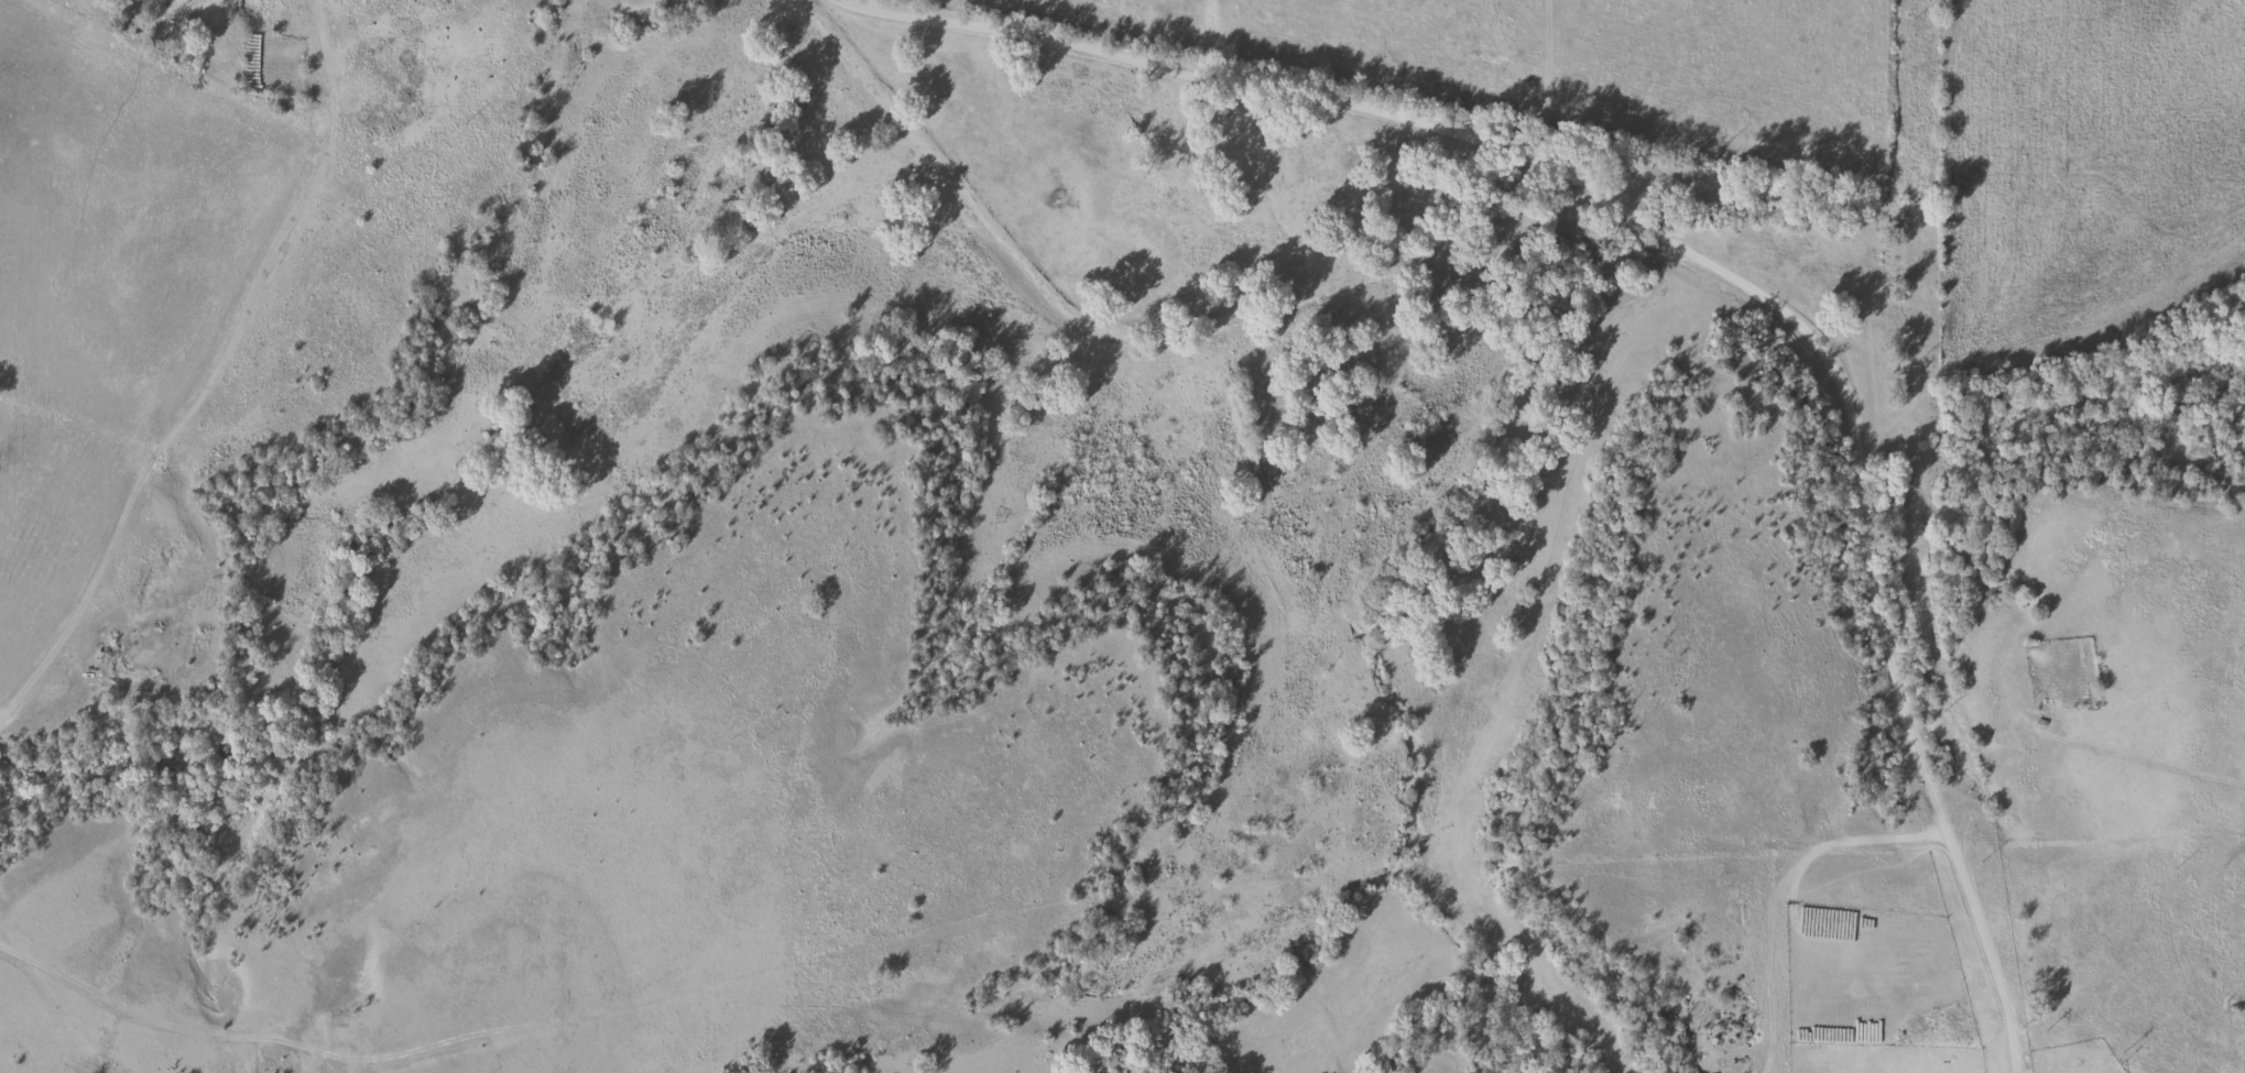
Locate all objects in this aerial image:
road: (1704, 272)
road: (216, 384)
road: (1780, 879)
road: (243, 1036)

